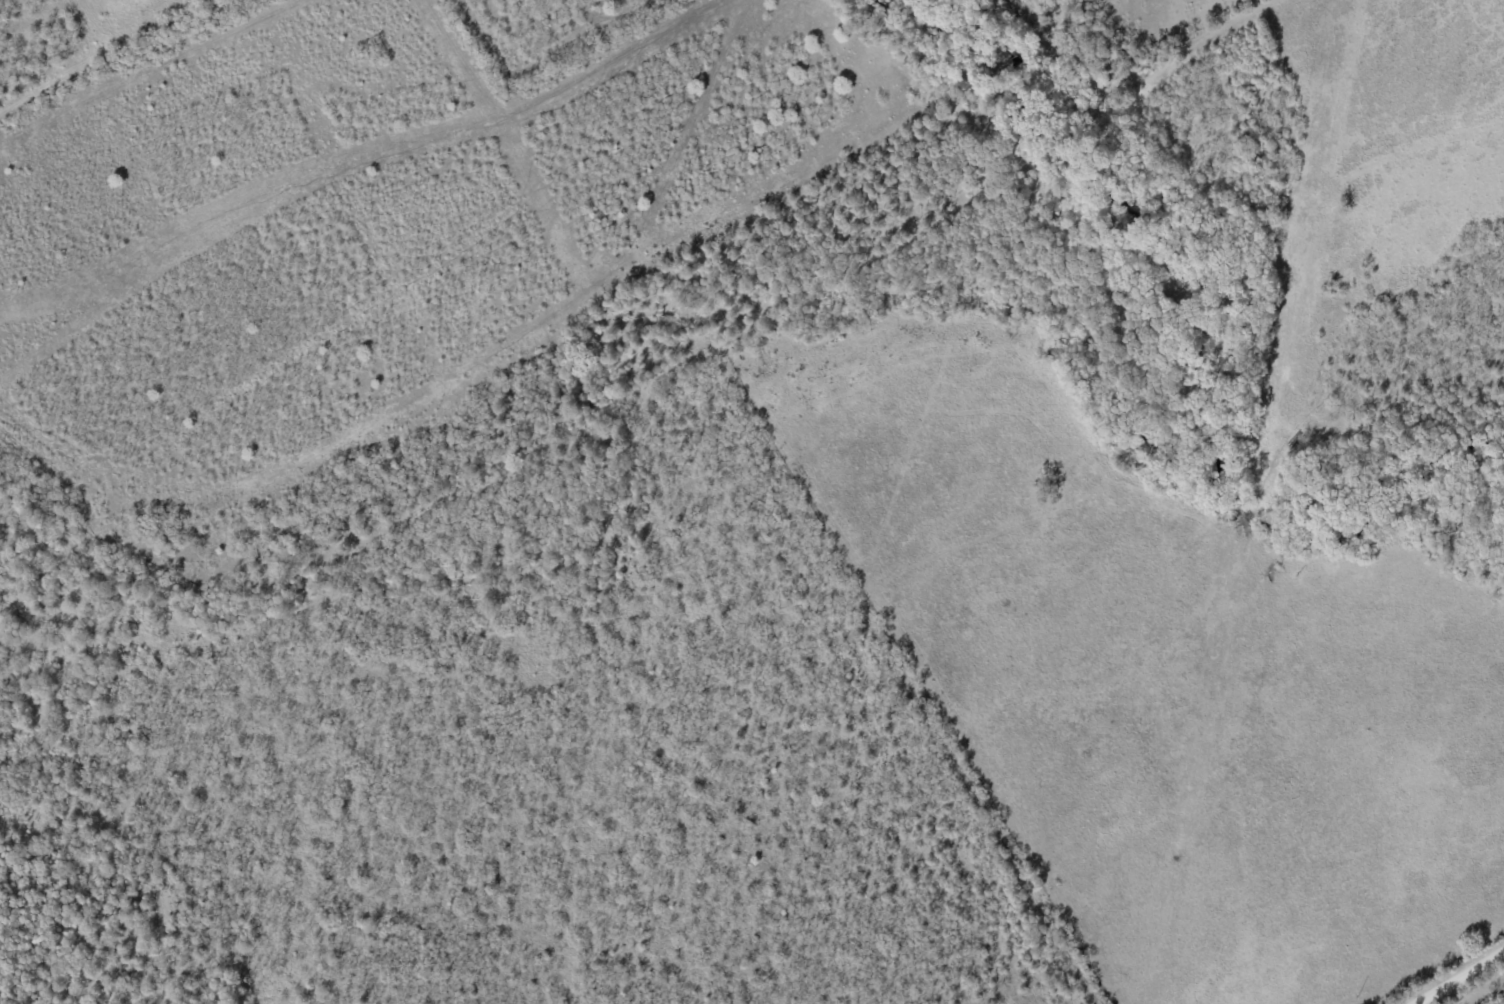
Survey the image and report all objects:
road: (1461, 978)

